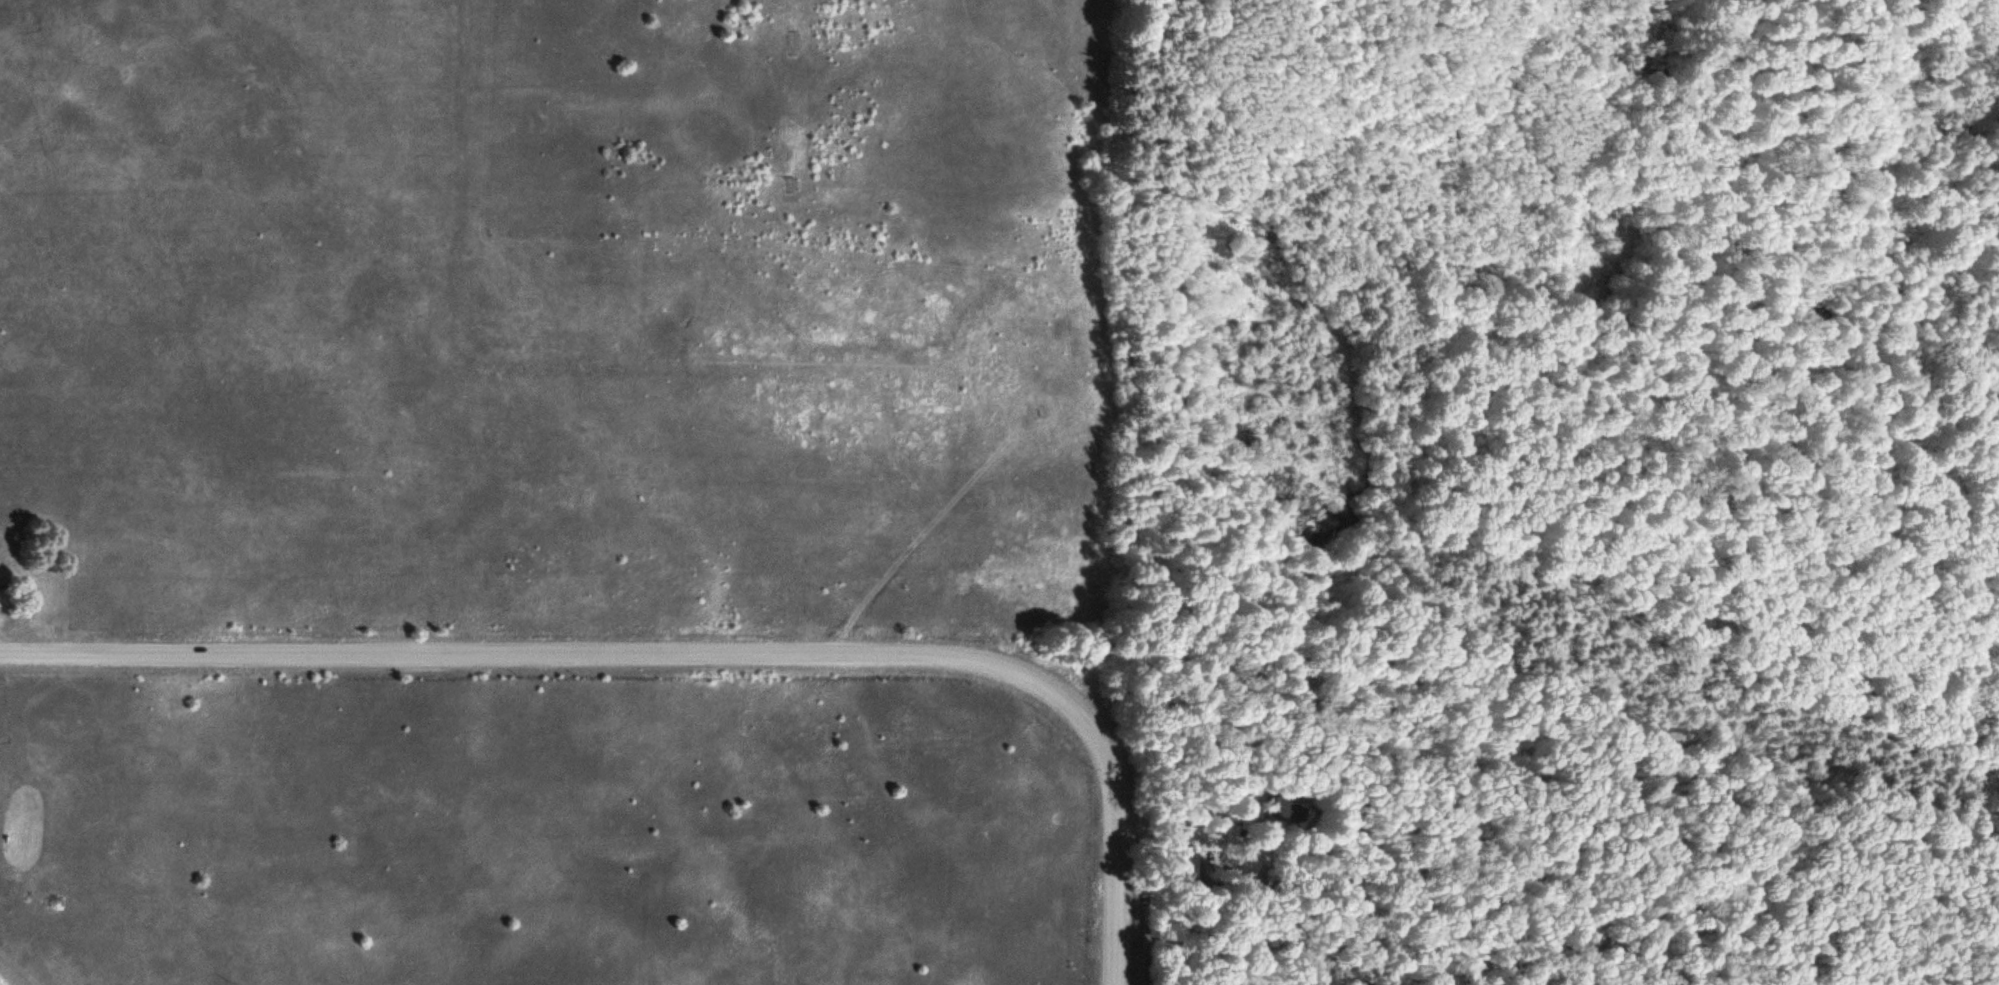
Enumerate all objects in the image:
building: (9, 596)
road: (687, 660)
building: (1293, 812)
building: (1190, 863)

